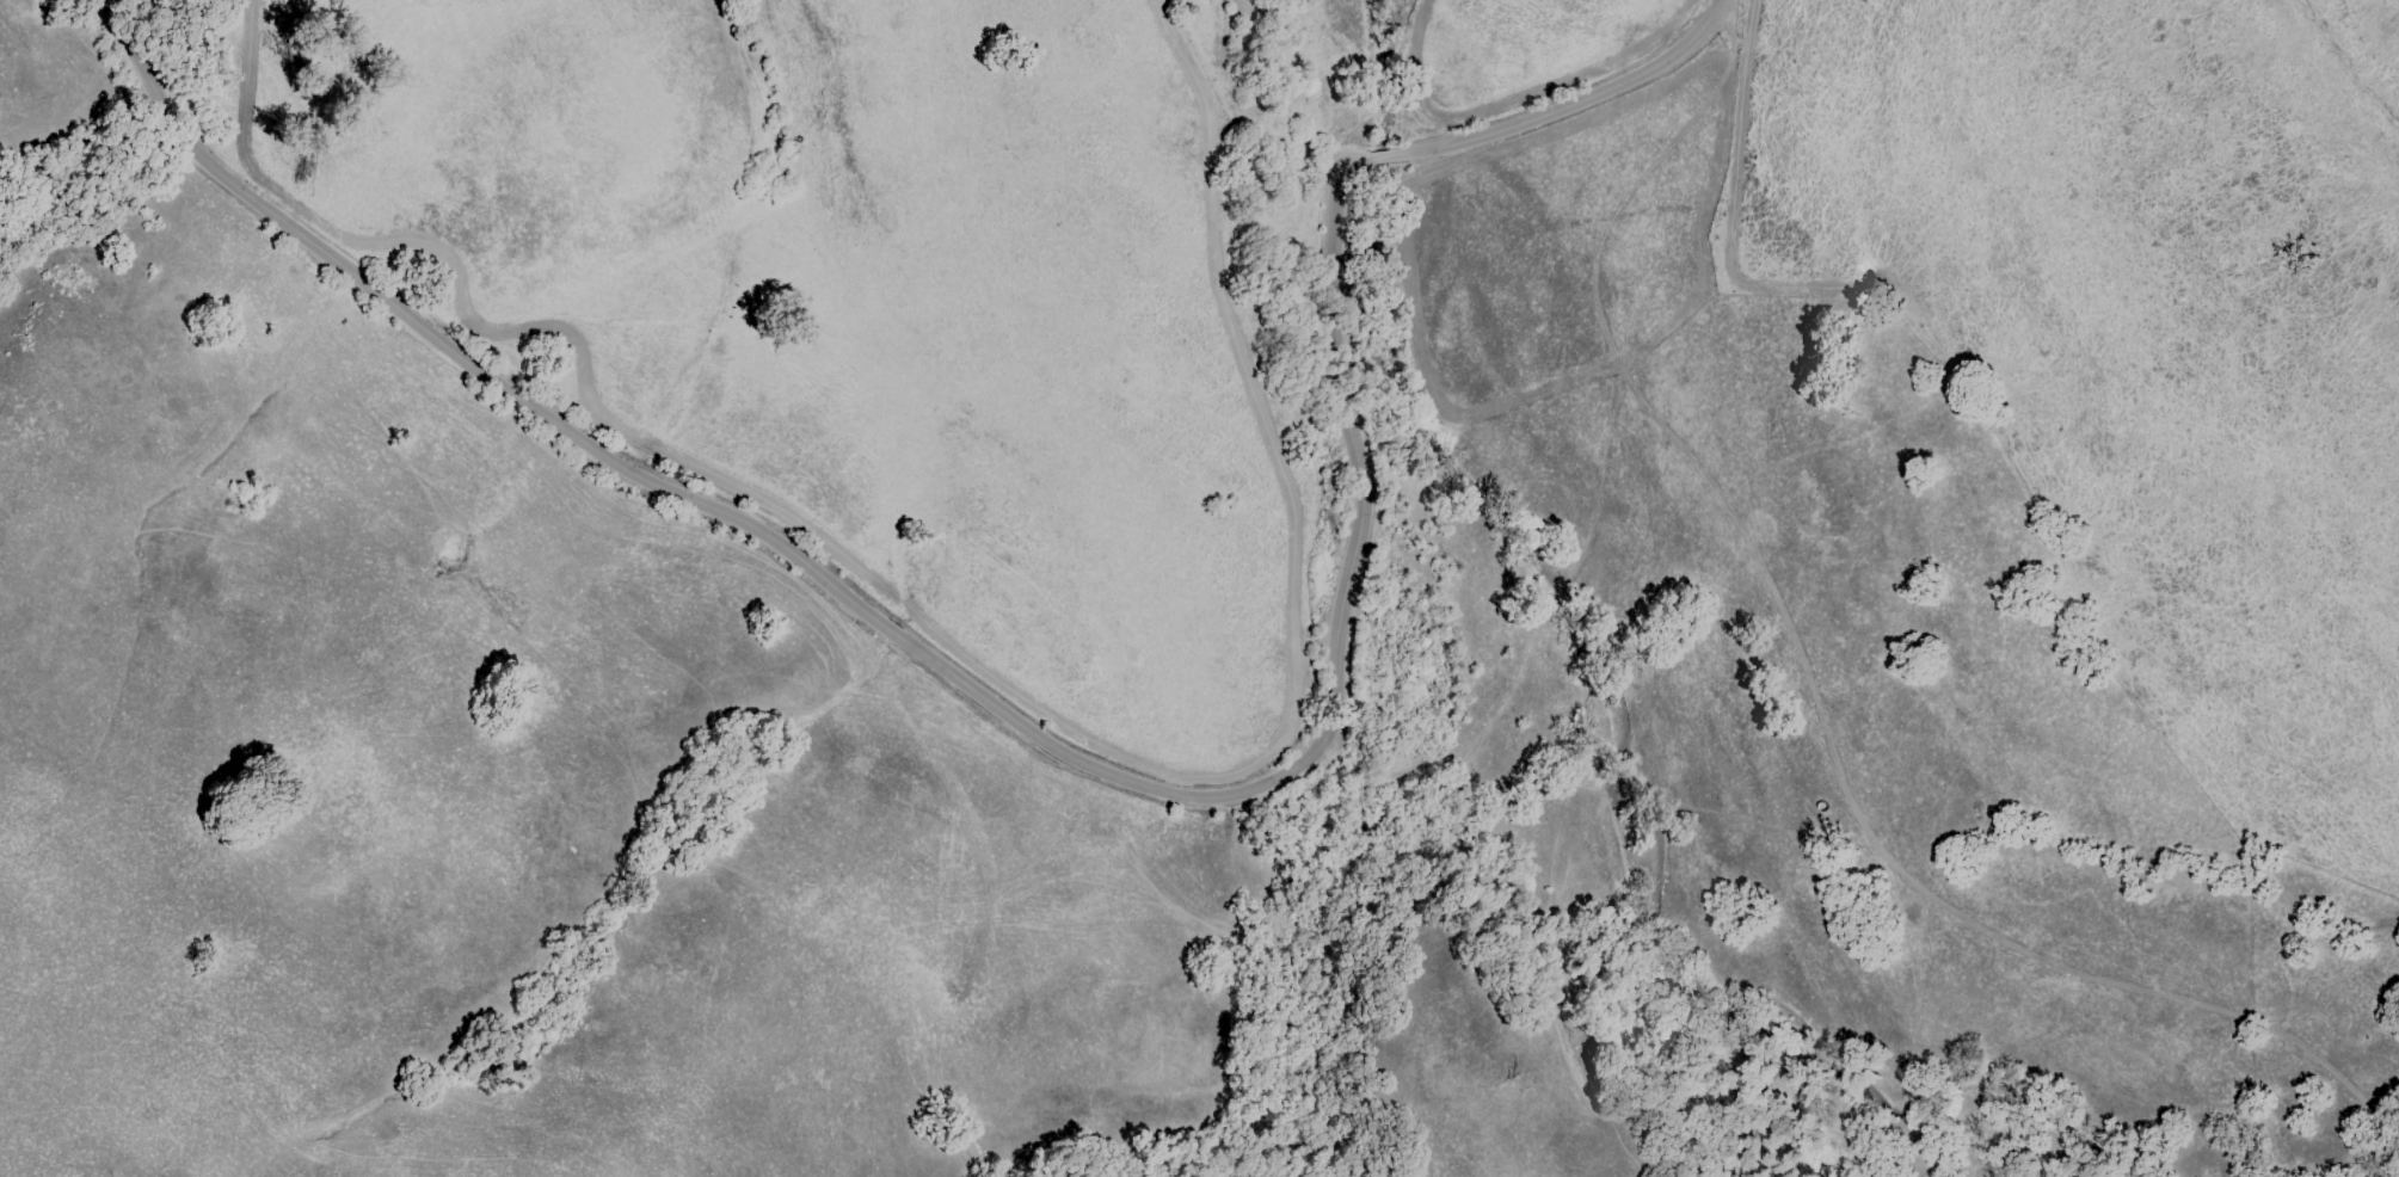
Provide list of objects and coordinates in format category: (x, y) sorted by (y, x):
road: (1079, 754)

